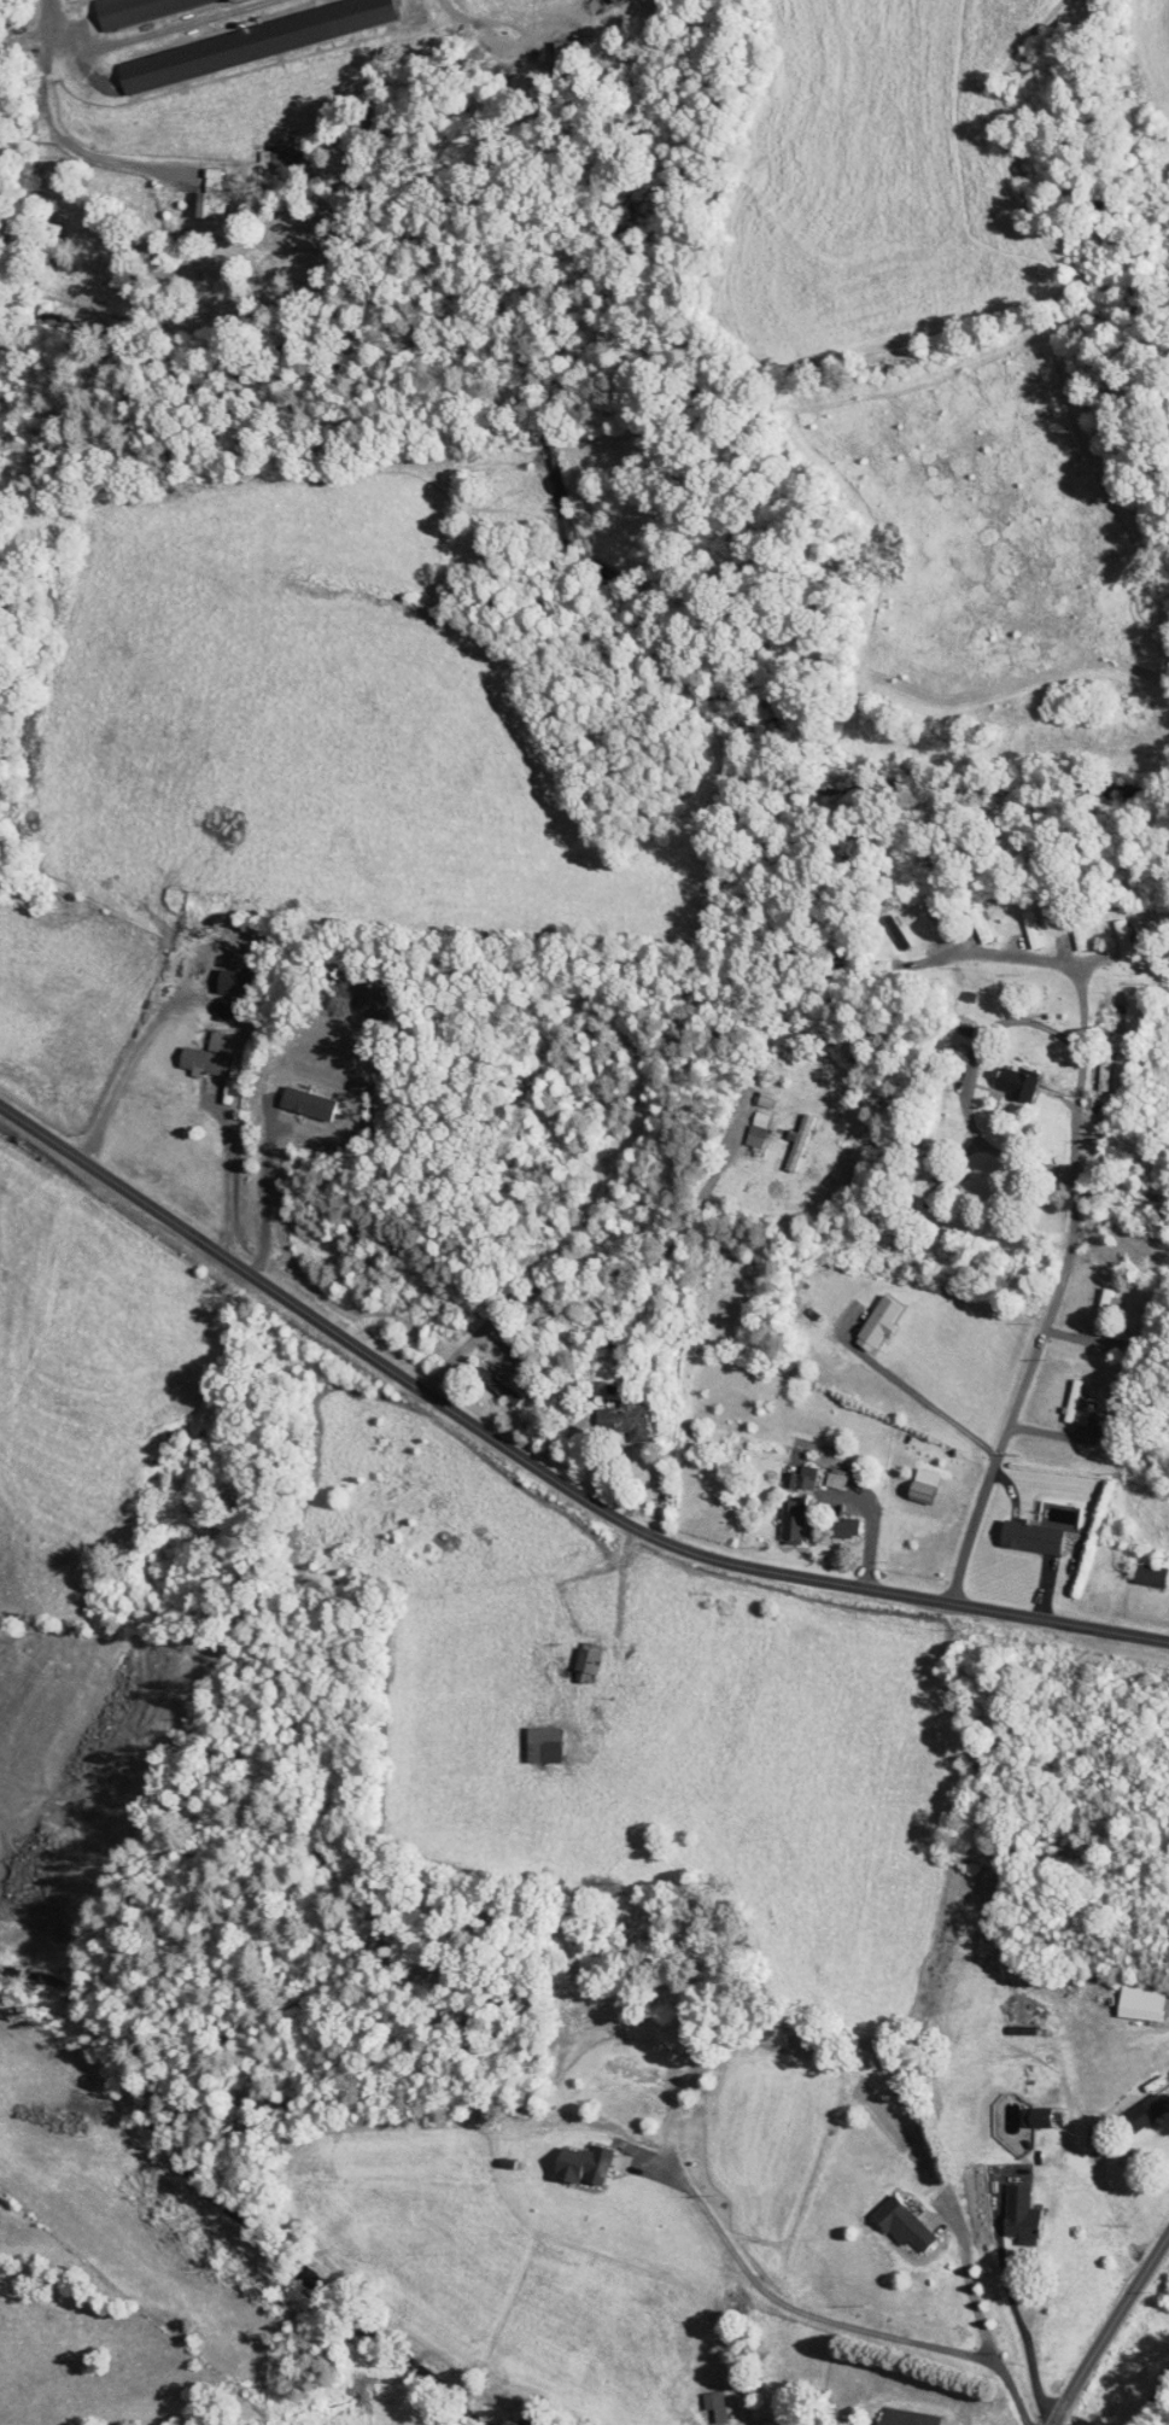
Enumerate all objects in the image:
building: (131, 8)
road: (46, 36)
building: (250, 42)
building: (559, 53)
building: (280, 159)
building: (929, 921)
building: (976, 925)
building: (1027, 930)
building: (894, 933)
building: (1074, 933)
building: (1117, 939)
building: (209, 960)
building: (1107, 1013)
building: (205, 1058)
road: (127, 1069)
building: (1100, 1071)
road: (968, 1081)
building: (1010, 1085)
building: (753, 1132)
building: (795, 1145)
road: (227, 1173)
building: (941, 1187)
road: (262, 1192)
road: (1075, 1205)
road: (602, 1270)
building: (1099, 1313)
building: (875, 1322)
building: (493, 1385)
road: (922, 1396)
building: (1072, 1406)
building: (619, 1418)
road: (543, 1472)
building: (801, 1477)
building: (830, 1478)
building: (789, 1521)
building: (838, 1527)
road: (871, 1527)
building: (1025, 1537)
building: (1144, 1576)
building: (584, 1664)
building: (537, 1745)
building: (1133, 2015)
building: (1138, 2114)
building: (1017, 2119)
building: (1015, 2215)
building: (898, 2225)
road: (970, 2281)
road: (1016, 2312)
road: (808, 2314)
road: (1109, 2327)
road: (1012, 2390)
building: (709, 2406)
building: (901, 2417)

